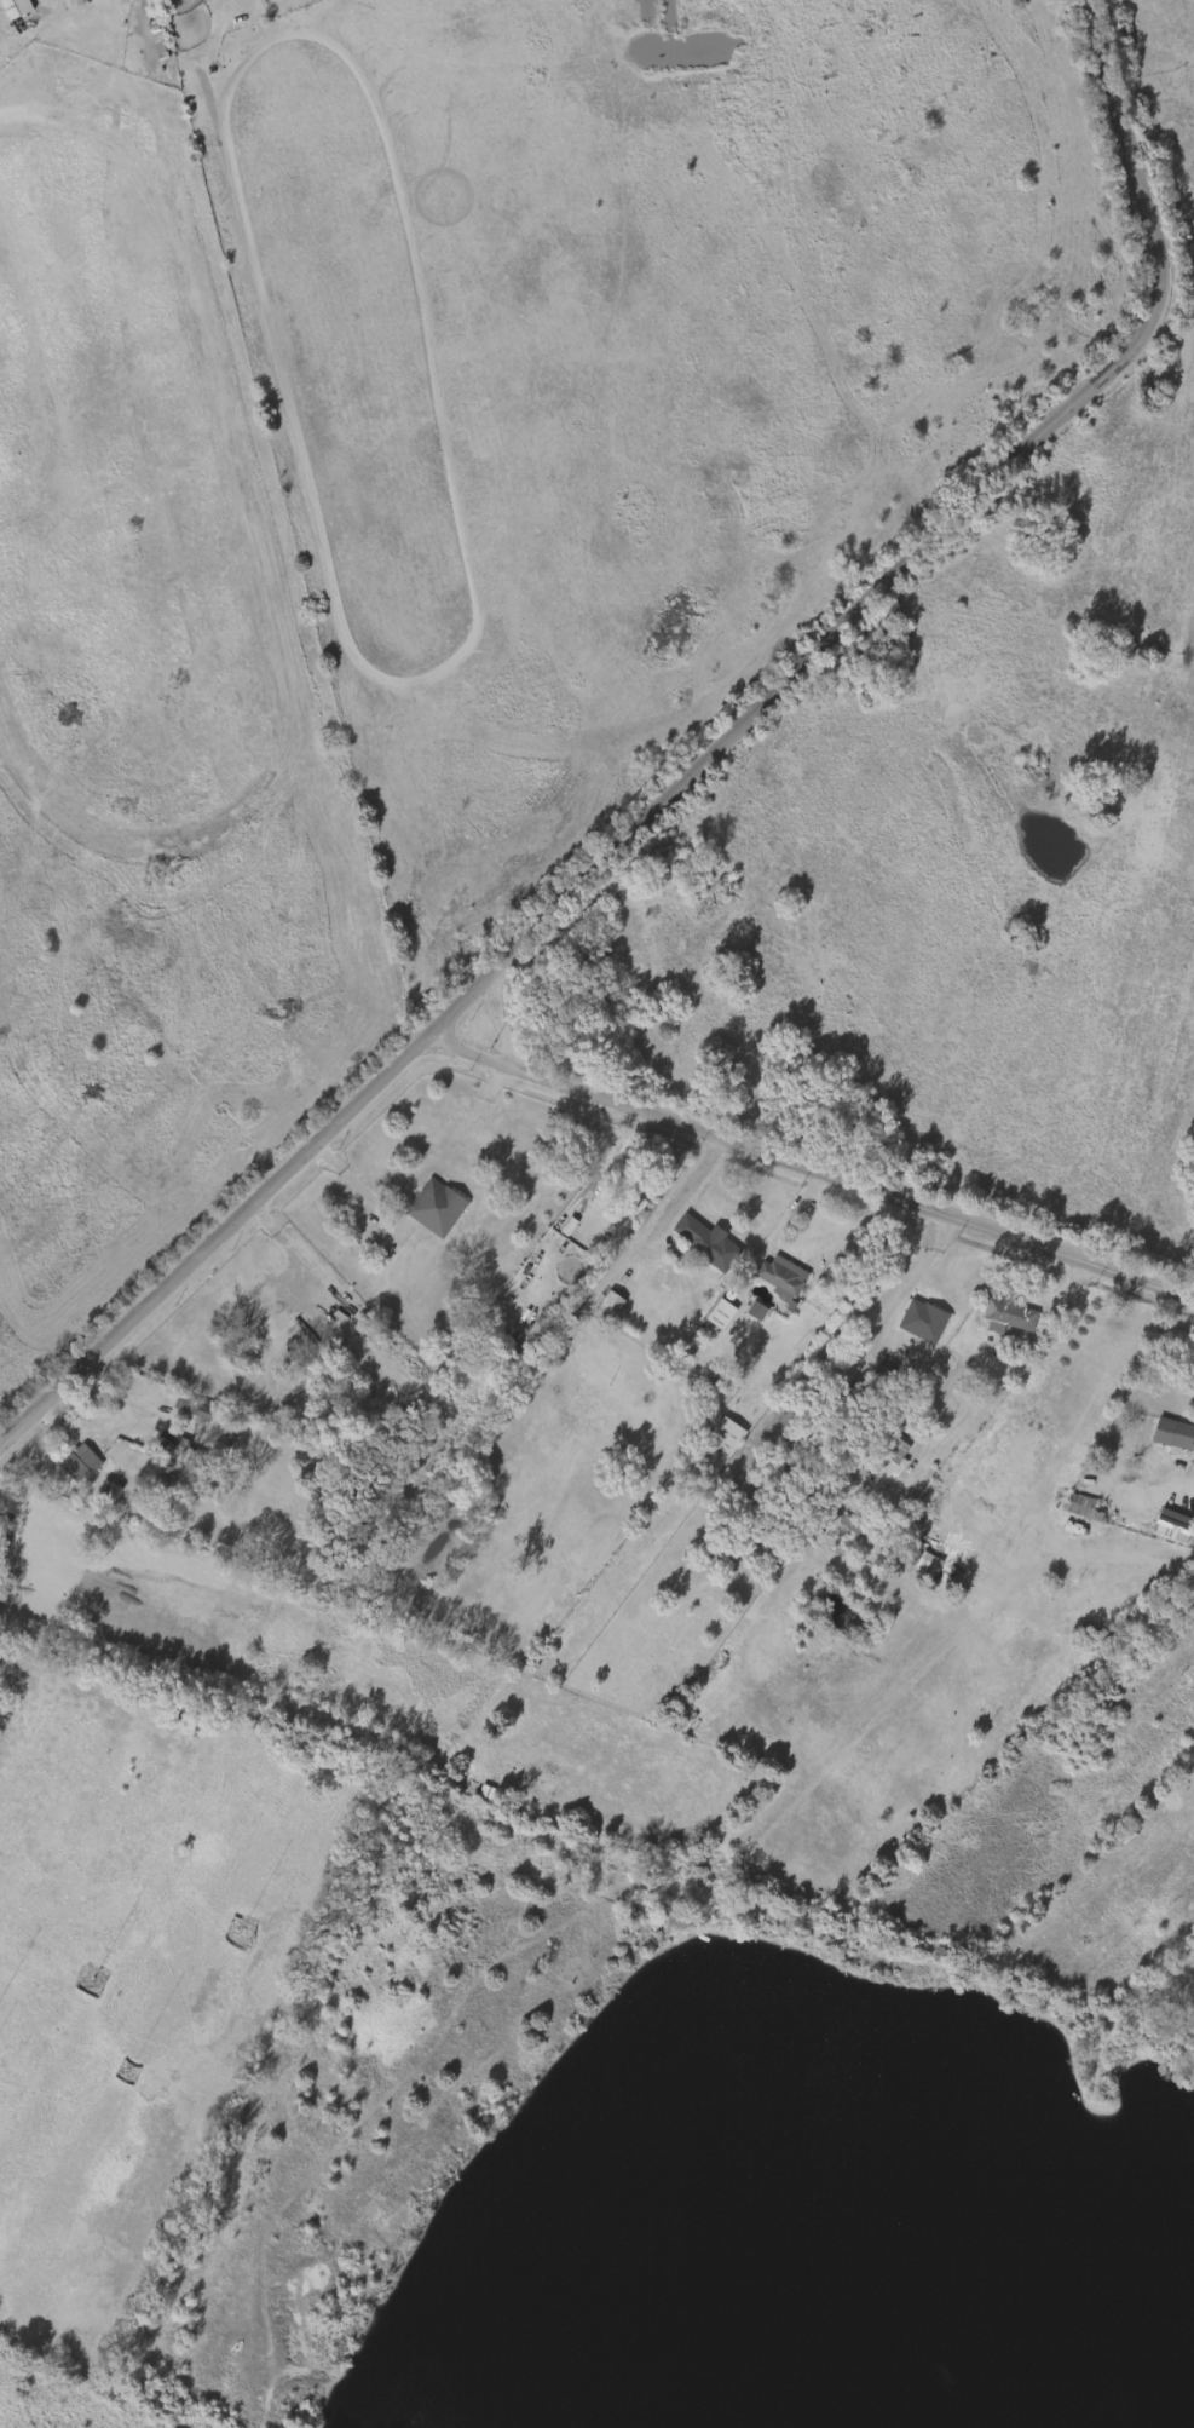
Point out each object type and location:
building: (7, 11)
road: (697, 771)
road: (809, 1170)
road: (358, 1184)
building: (625, 1193)
road: (681, 1196)
building: (439, 1207)
road: (781, 1224)
building: (709, 1243)
road: (916, 1273)
building: (783, 1277)
building: (612, 1307)
building: (596, 1311)
building: (720, 1313)
building: (744, 1314)
building: (1008, 1314)
building: (709, 1318)
building: (923, 1319)
building: (873, 1374)
road: (121, 1402)
building: (194, 1409)
building: (183, 1414)
building: (838, 1415)
building: (1173, 1433)
building: (726, 1434)
building: (714, 1440)
building: (180, 1450)
building: (882, 1455)
building: (81, 1463)
building: (108, 1494)
building: (96, 1496)
building: (1071, 1511)
building: (1160, 1529)
building: (789, 1530)

